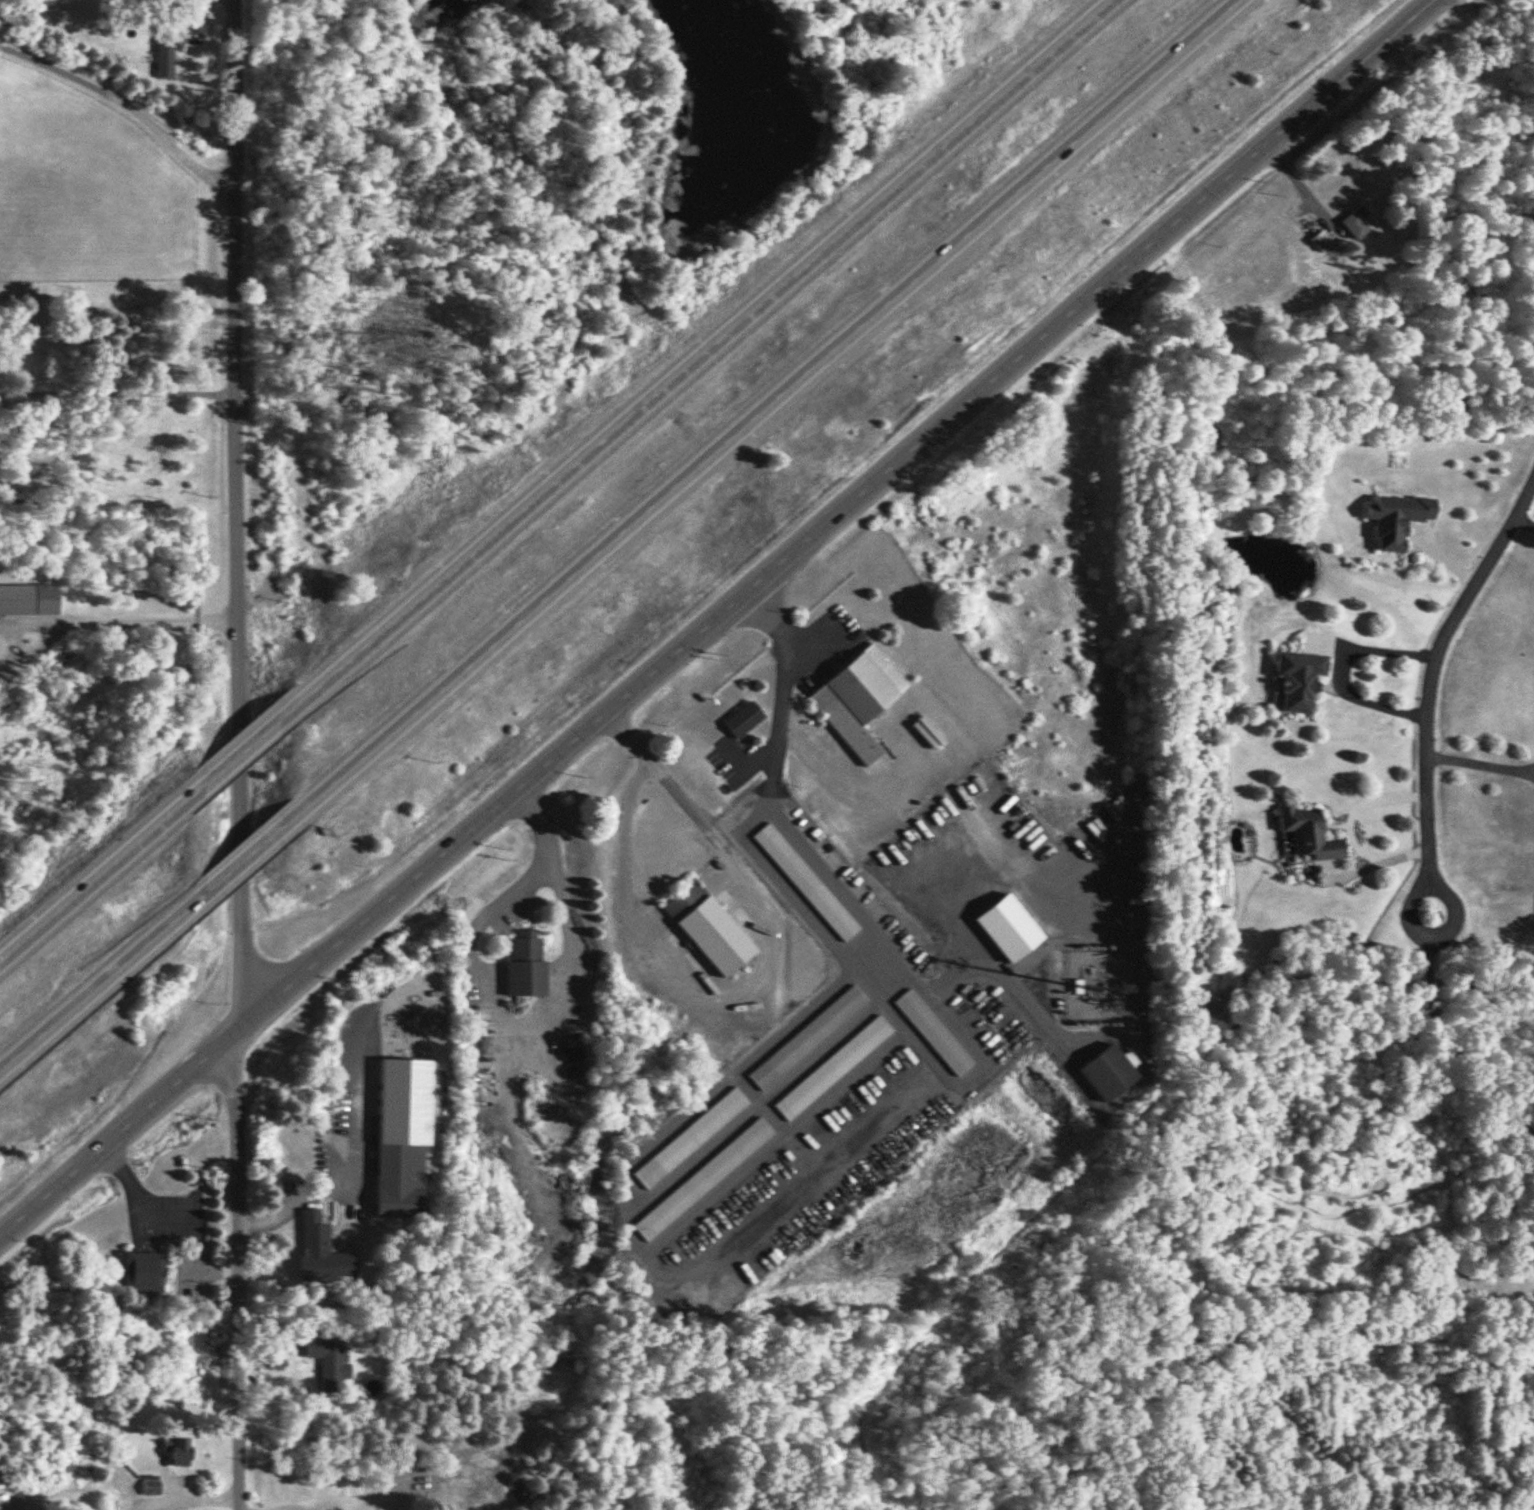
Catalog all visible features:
building: (162, 51)
road: (230, 78)
road: (126, 103)
road: (1295, 180)
building: (1352, 221)
building: (1318, 239)
road: (708, 344)
road: (117, 393)
road: (769, 400)
building: (1393, 518)
road: (235, 587)
building: (26, 598)
road: (714, 615)
road: (74, 620)
road: (1337, 665)
road: (1432, 671)
building: (1296, 677)
building: (854, 697)
building: (740, 718)
road: (247, 739)
road: (1478, 763)
road: (1345, 827)
building: (1306, 833)
road: (241, 857)
road: (92, 870)
road: (830, 880)
building: (802, 881)
road: (1407, 900)
building: (704, 926)
building: (1004, 926)
building: (522, 965)
road: (746, 976)
road: (87, 989)
road: (541, 1014)
building: (929, 1031)
building: (803, 1036)
road: (1450, 1053)
road: (240, 1056)
building: (828, 1066)
building: (1105, 1070)
building: (399, 1134)
building: (687, 1137)
building: (699, 1178)
road: (303, 1195)
building: (318, 1247)
building: (139, 1270)
road: (208, 1270)
road: (240, 1302)
building: (324, 1360)
building: (174, 1449)
building: (147, 1483)

